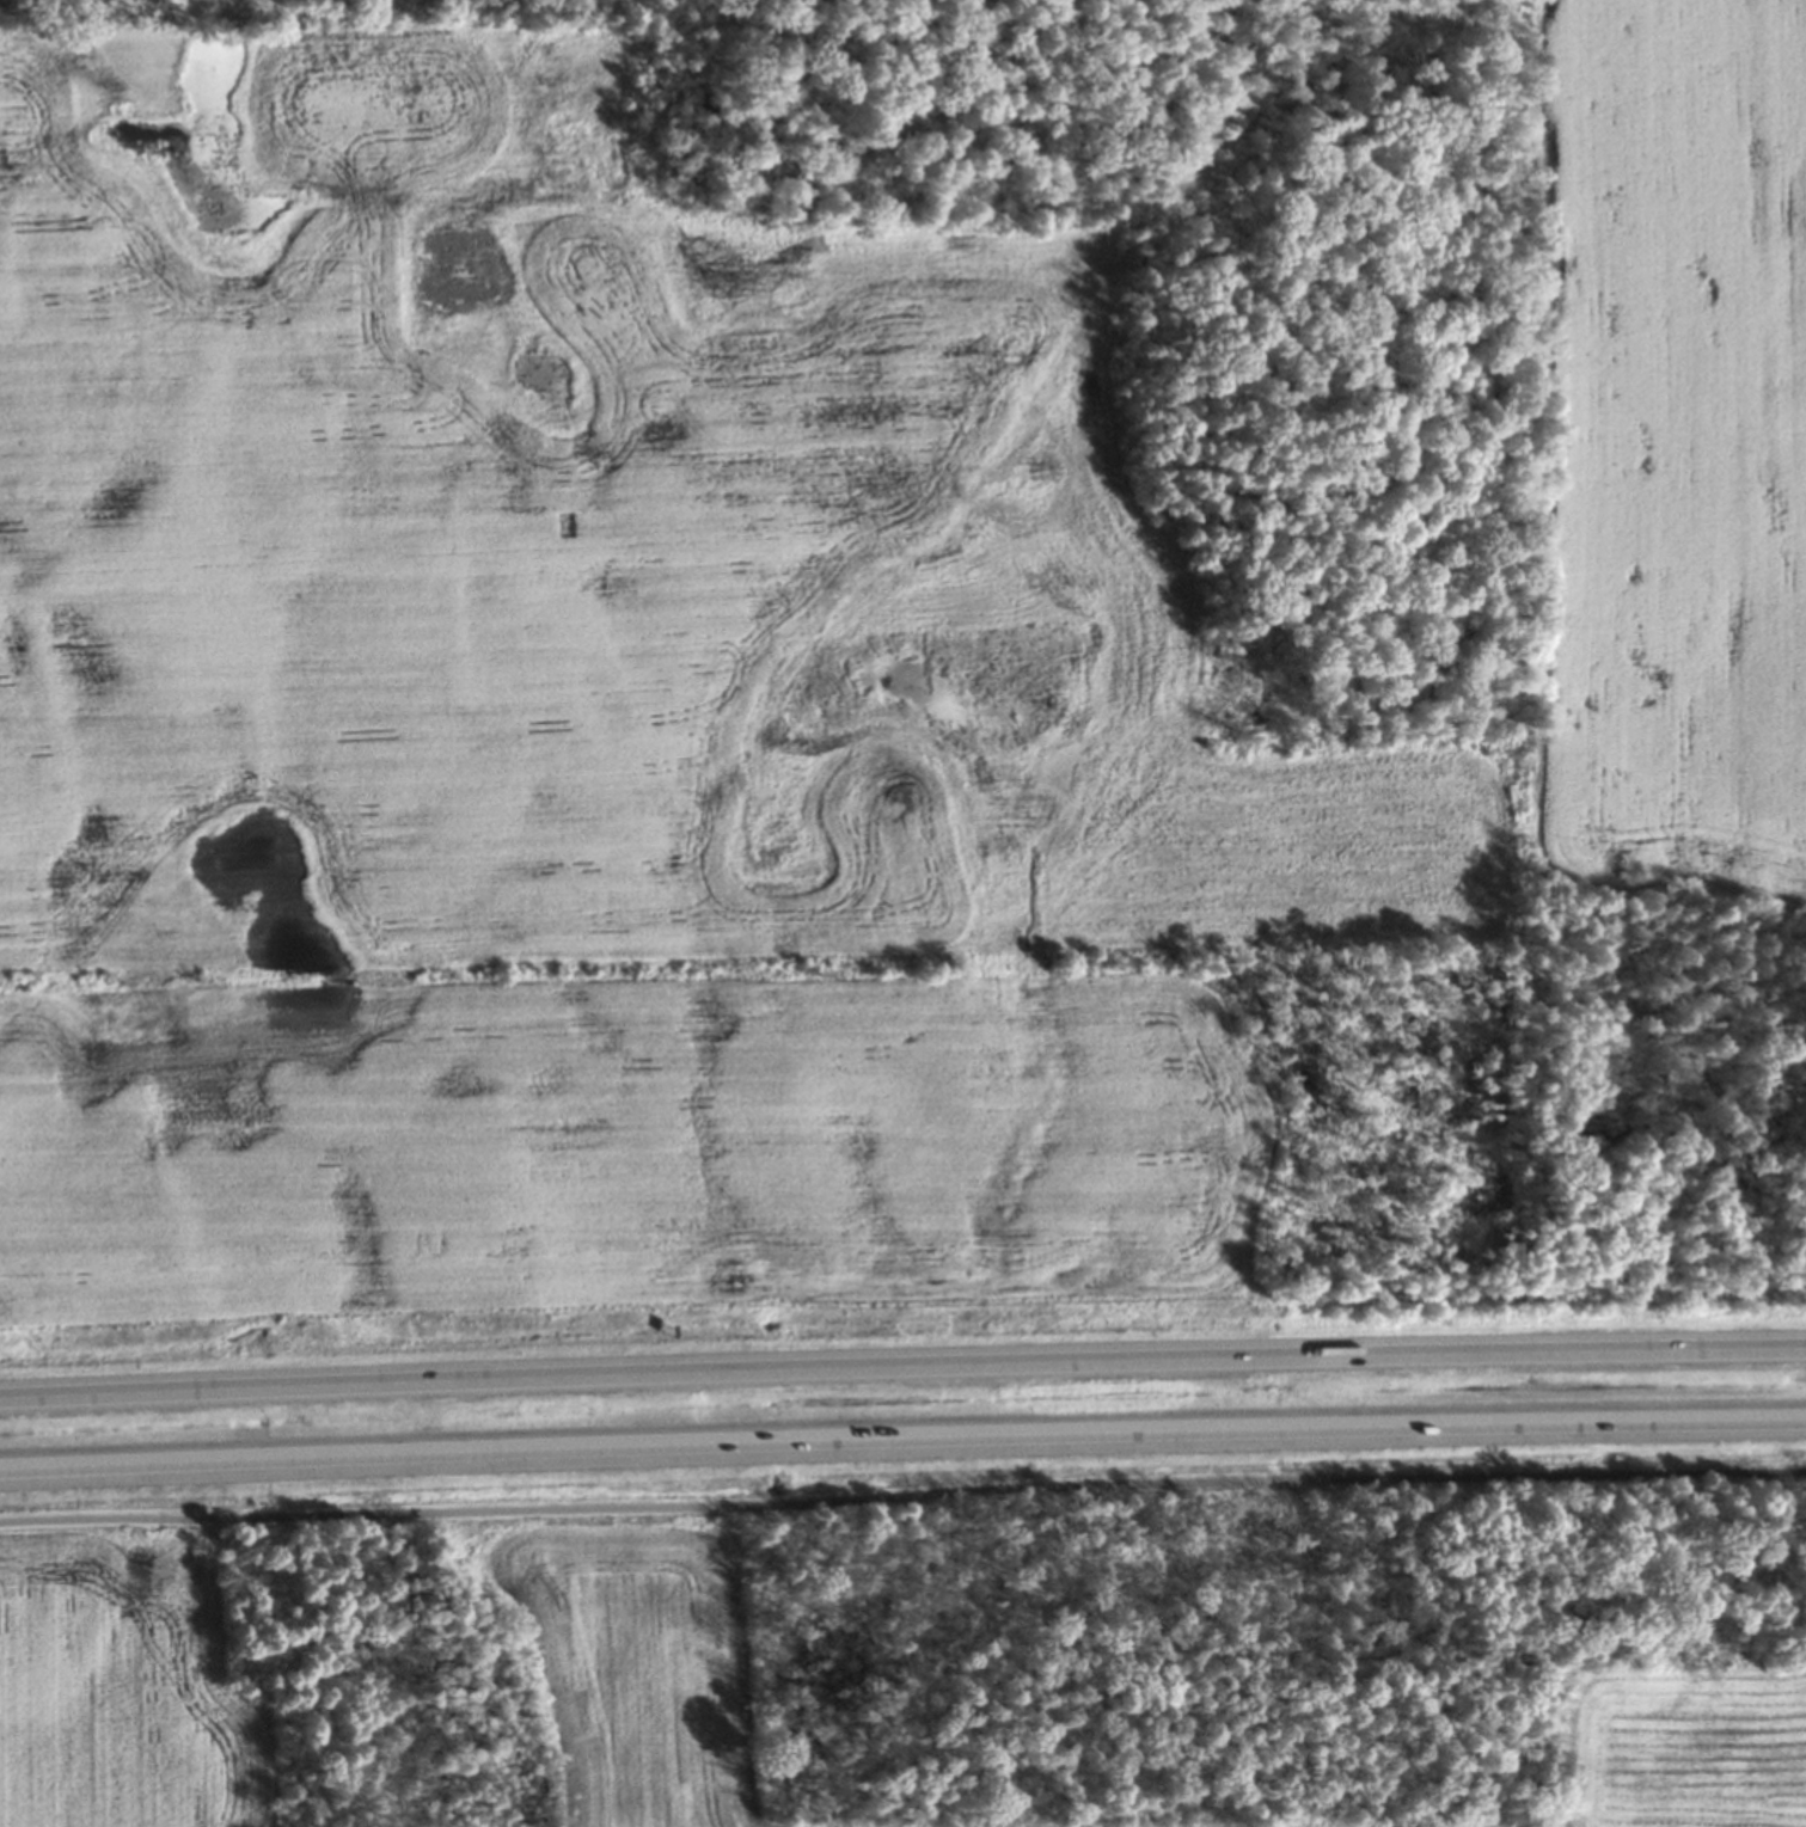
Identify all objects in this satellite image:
road: (902, 1366)
road: (902, 1437)
road: (902, 1497)

